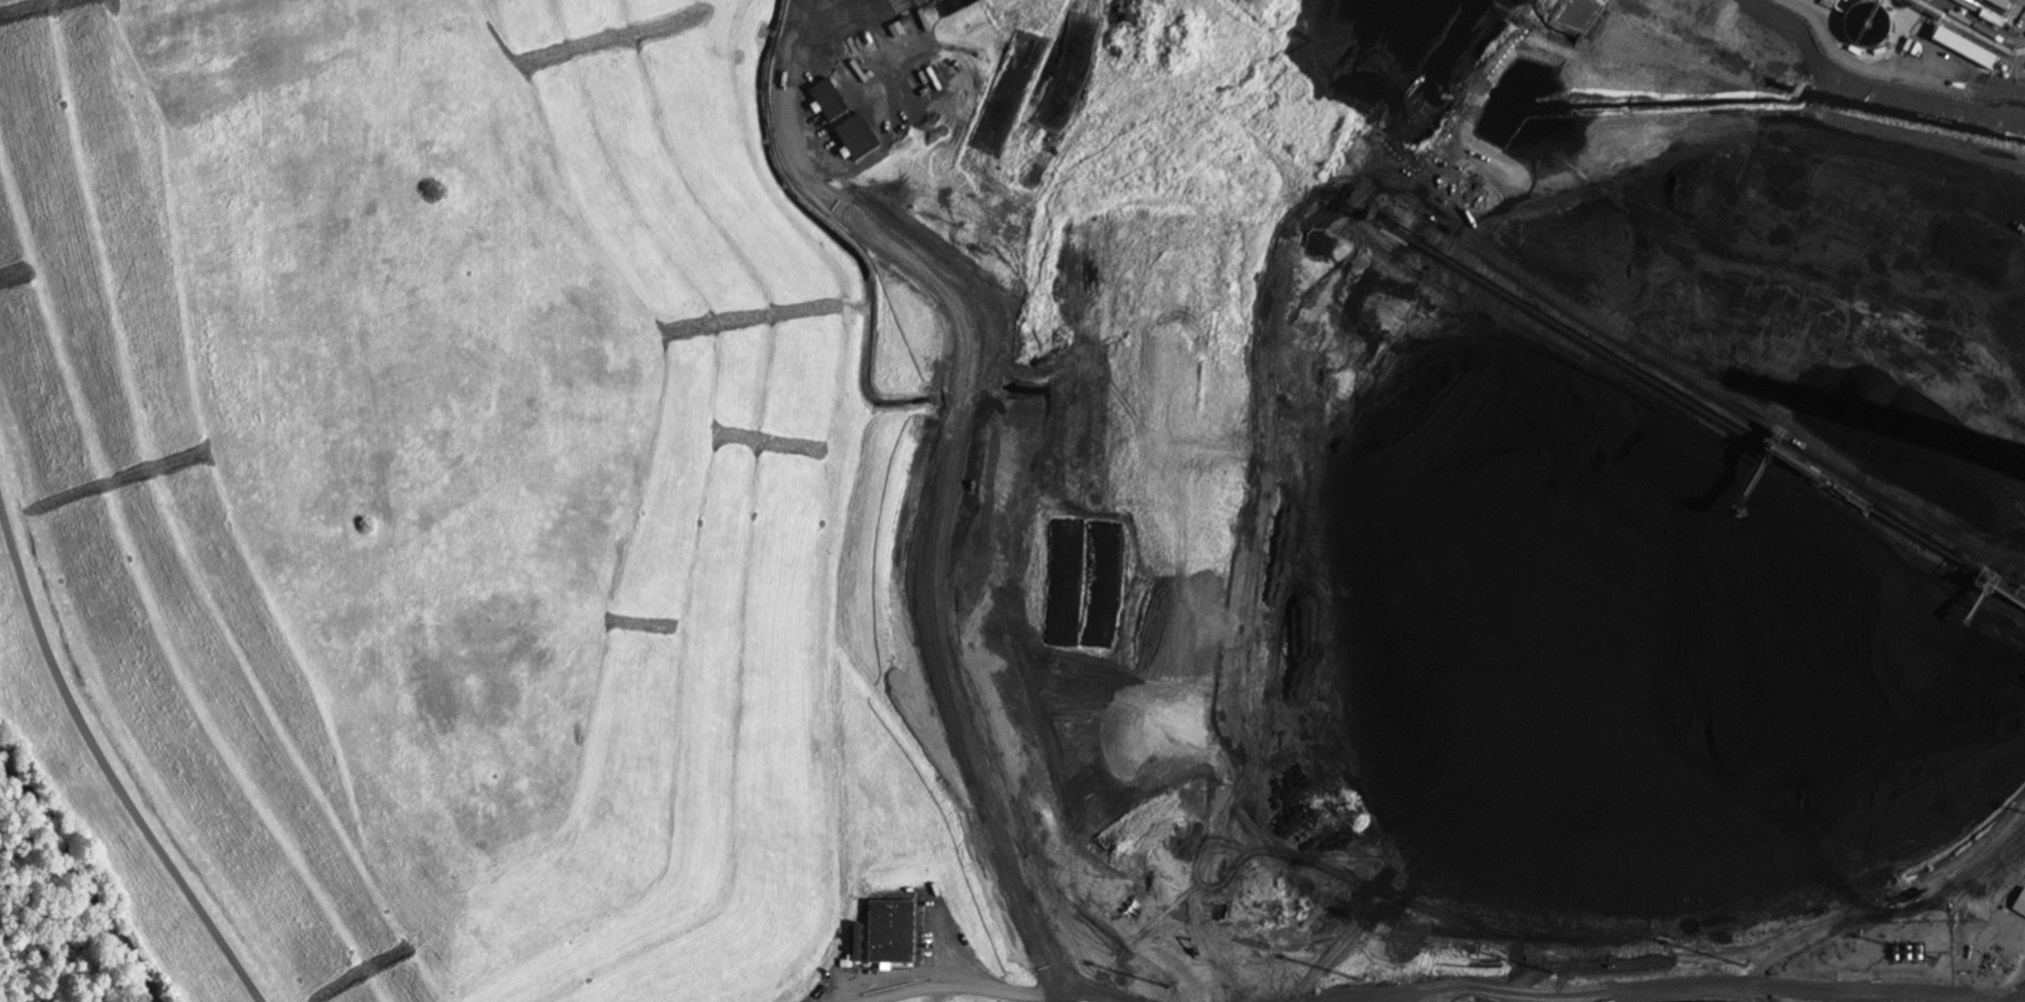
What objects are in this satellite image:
building: (816, 77)
road: (104, 766)
building: (2020, 904)
road: (1000, 988)
road: (1652, 992)
road: (1995, 996)
road: (1061, 997)
road: (1997, 999)

